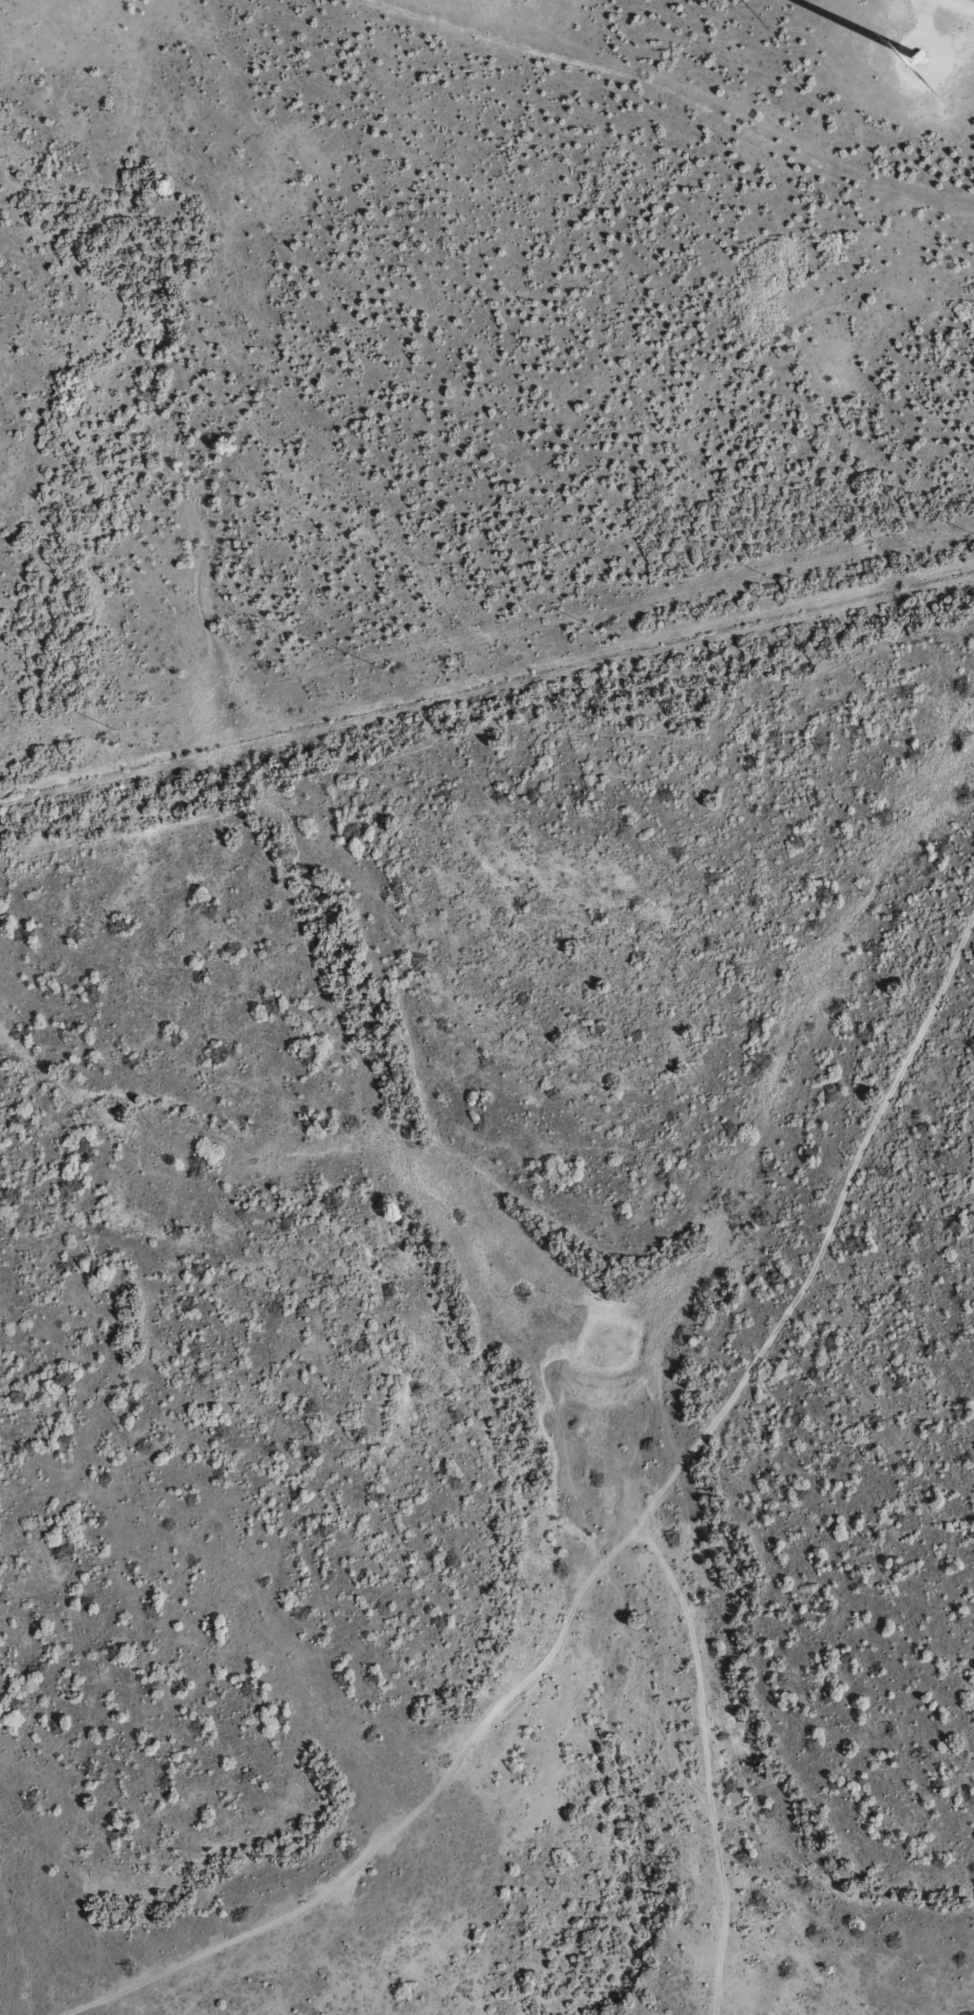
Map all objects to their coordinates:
road: (958, 5)
wind turbine: (922, 59)

